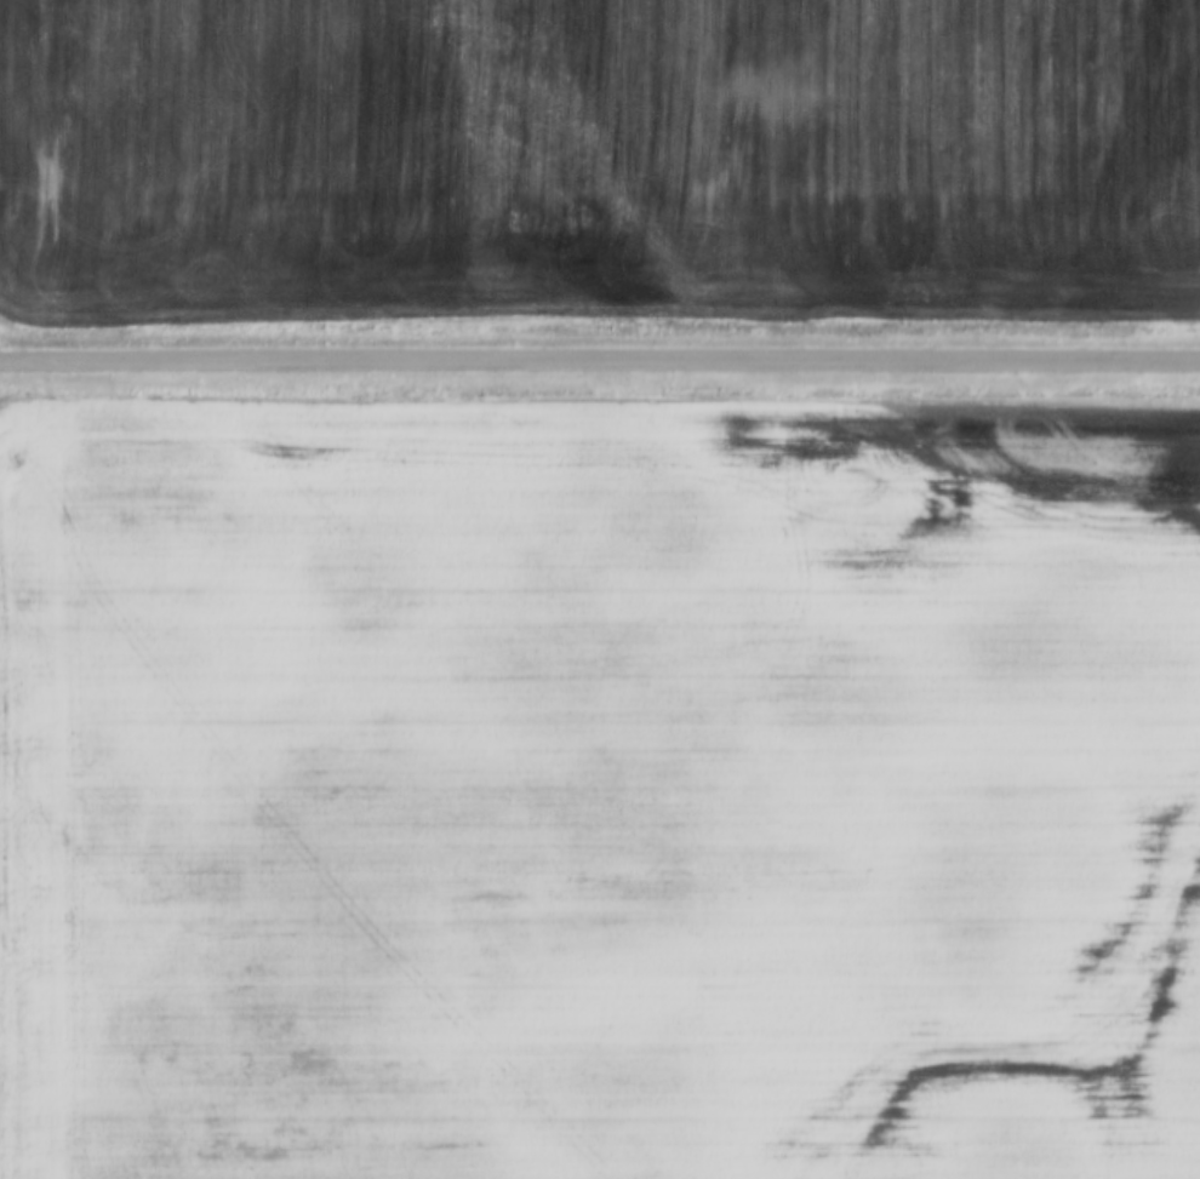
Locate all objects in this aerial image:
road: (599, 359)

